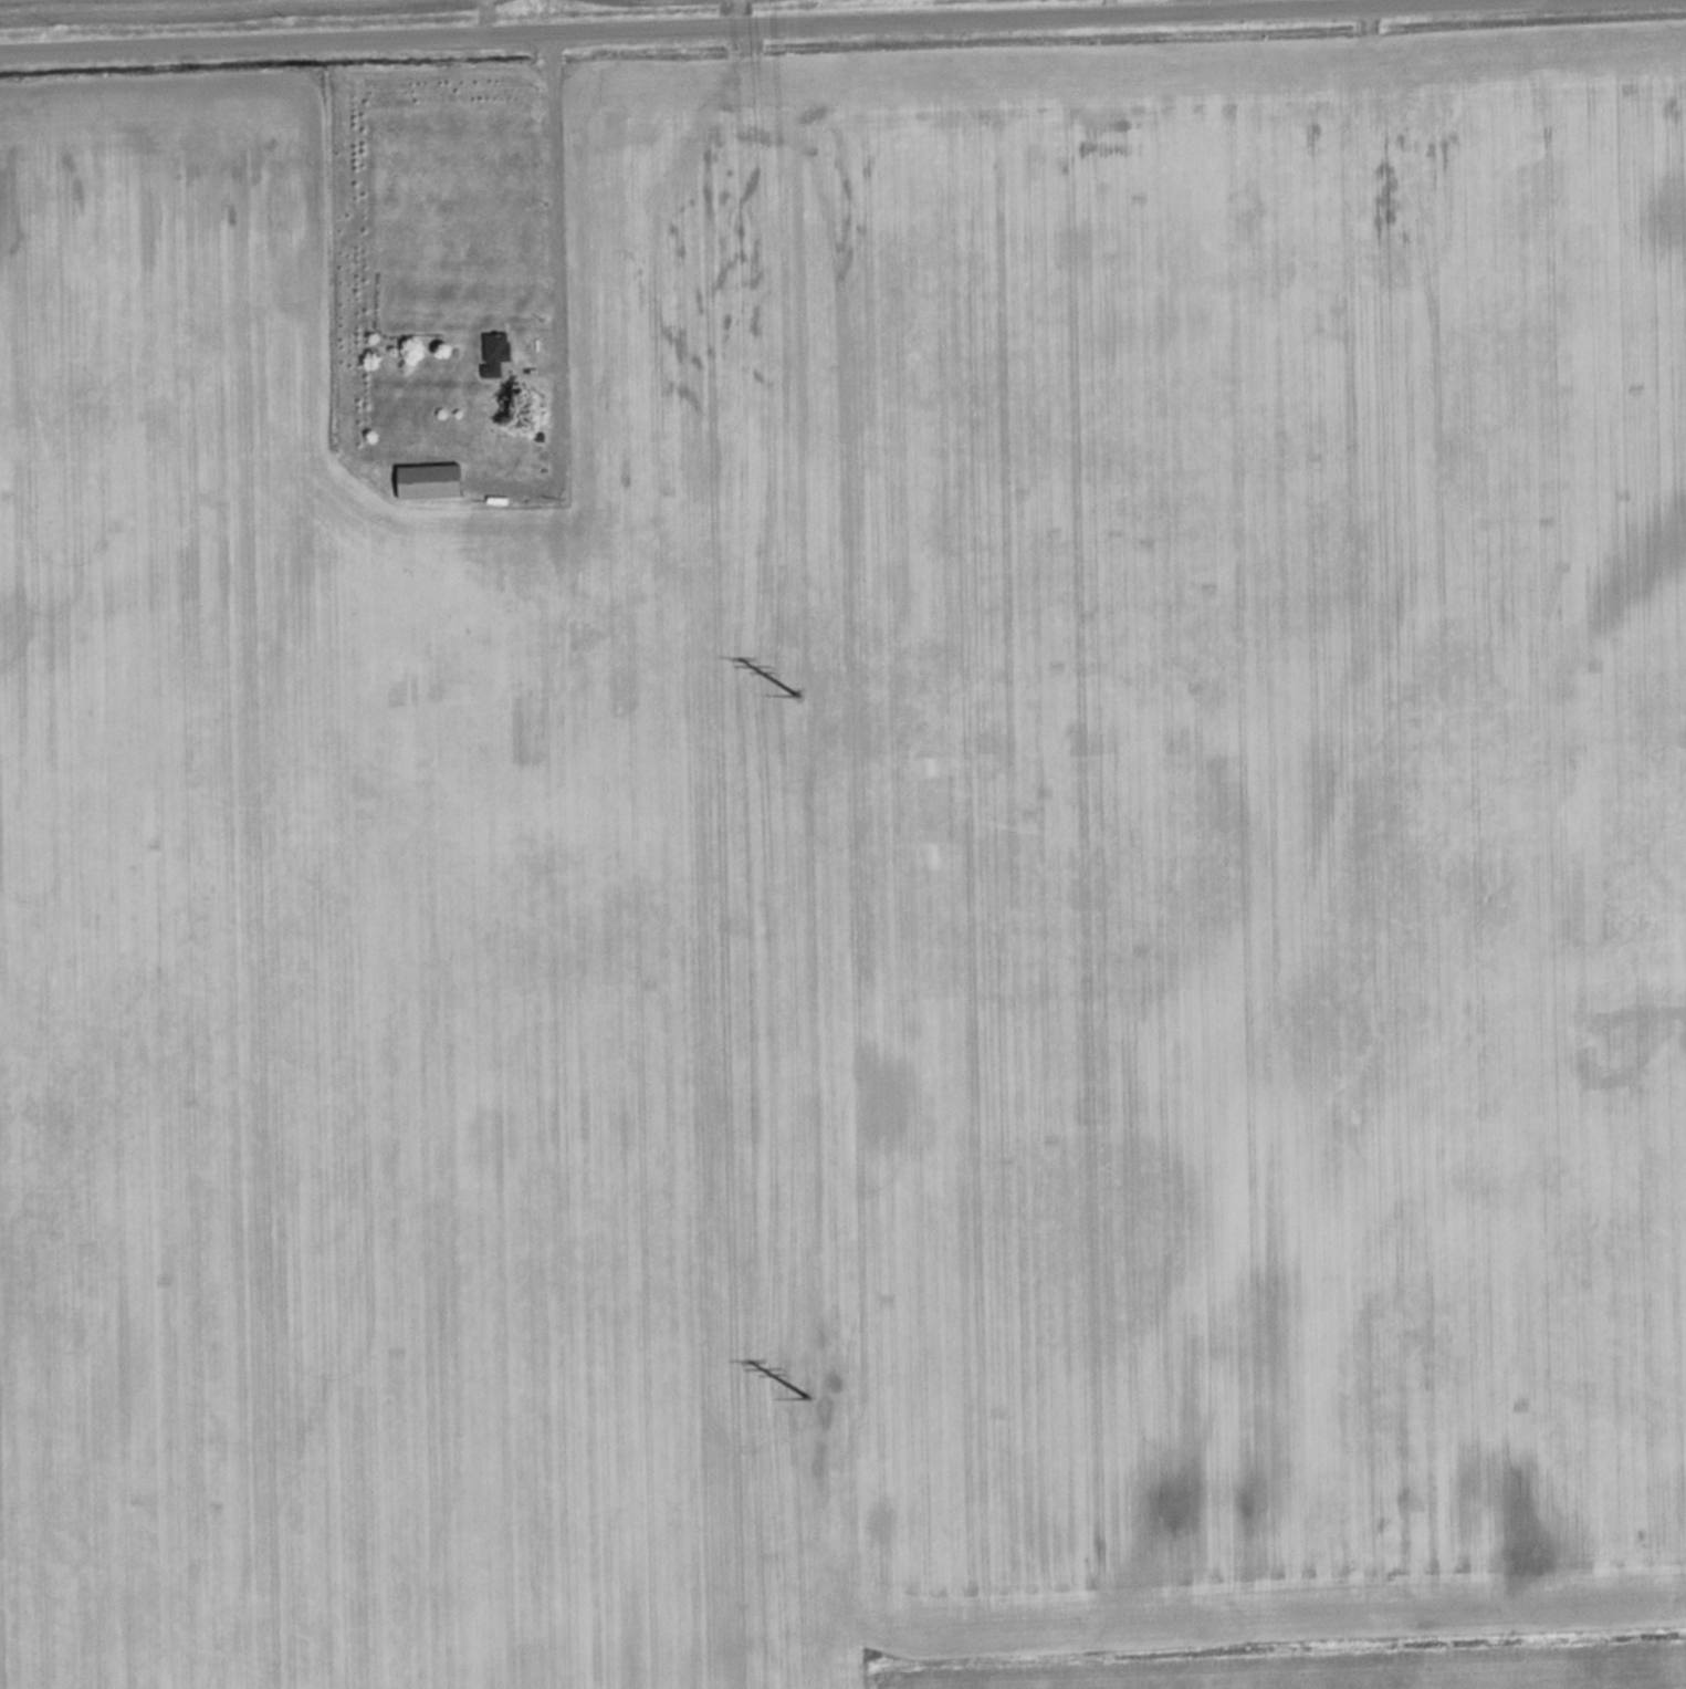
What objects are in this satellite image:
road: (788, 28)
building: (492, 353)
building: (423, 482)
power tower: (797, 688)
power tower: (805, 1390)

